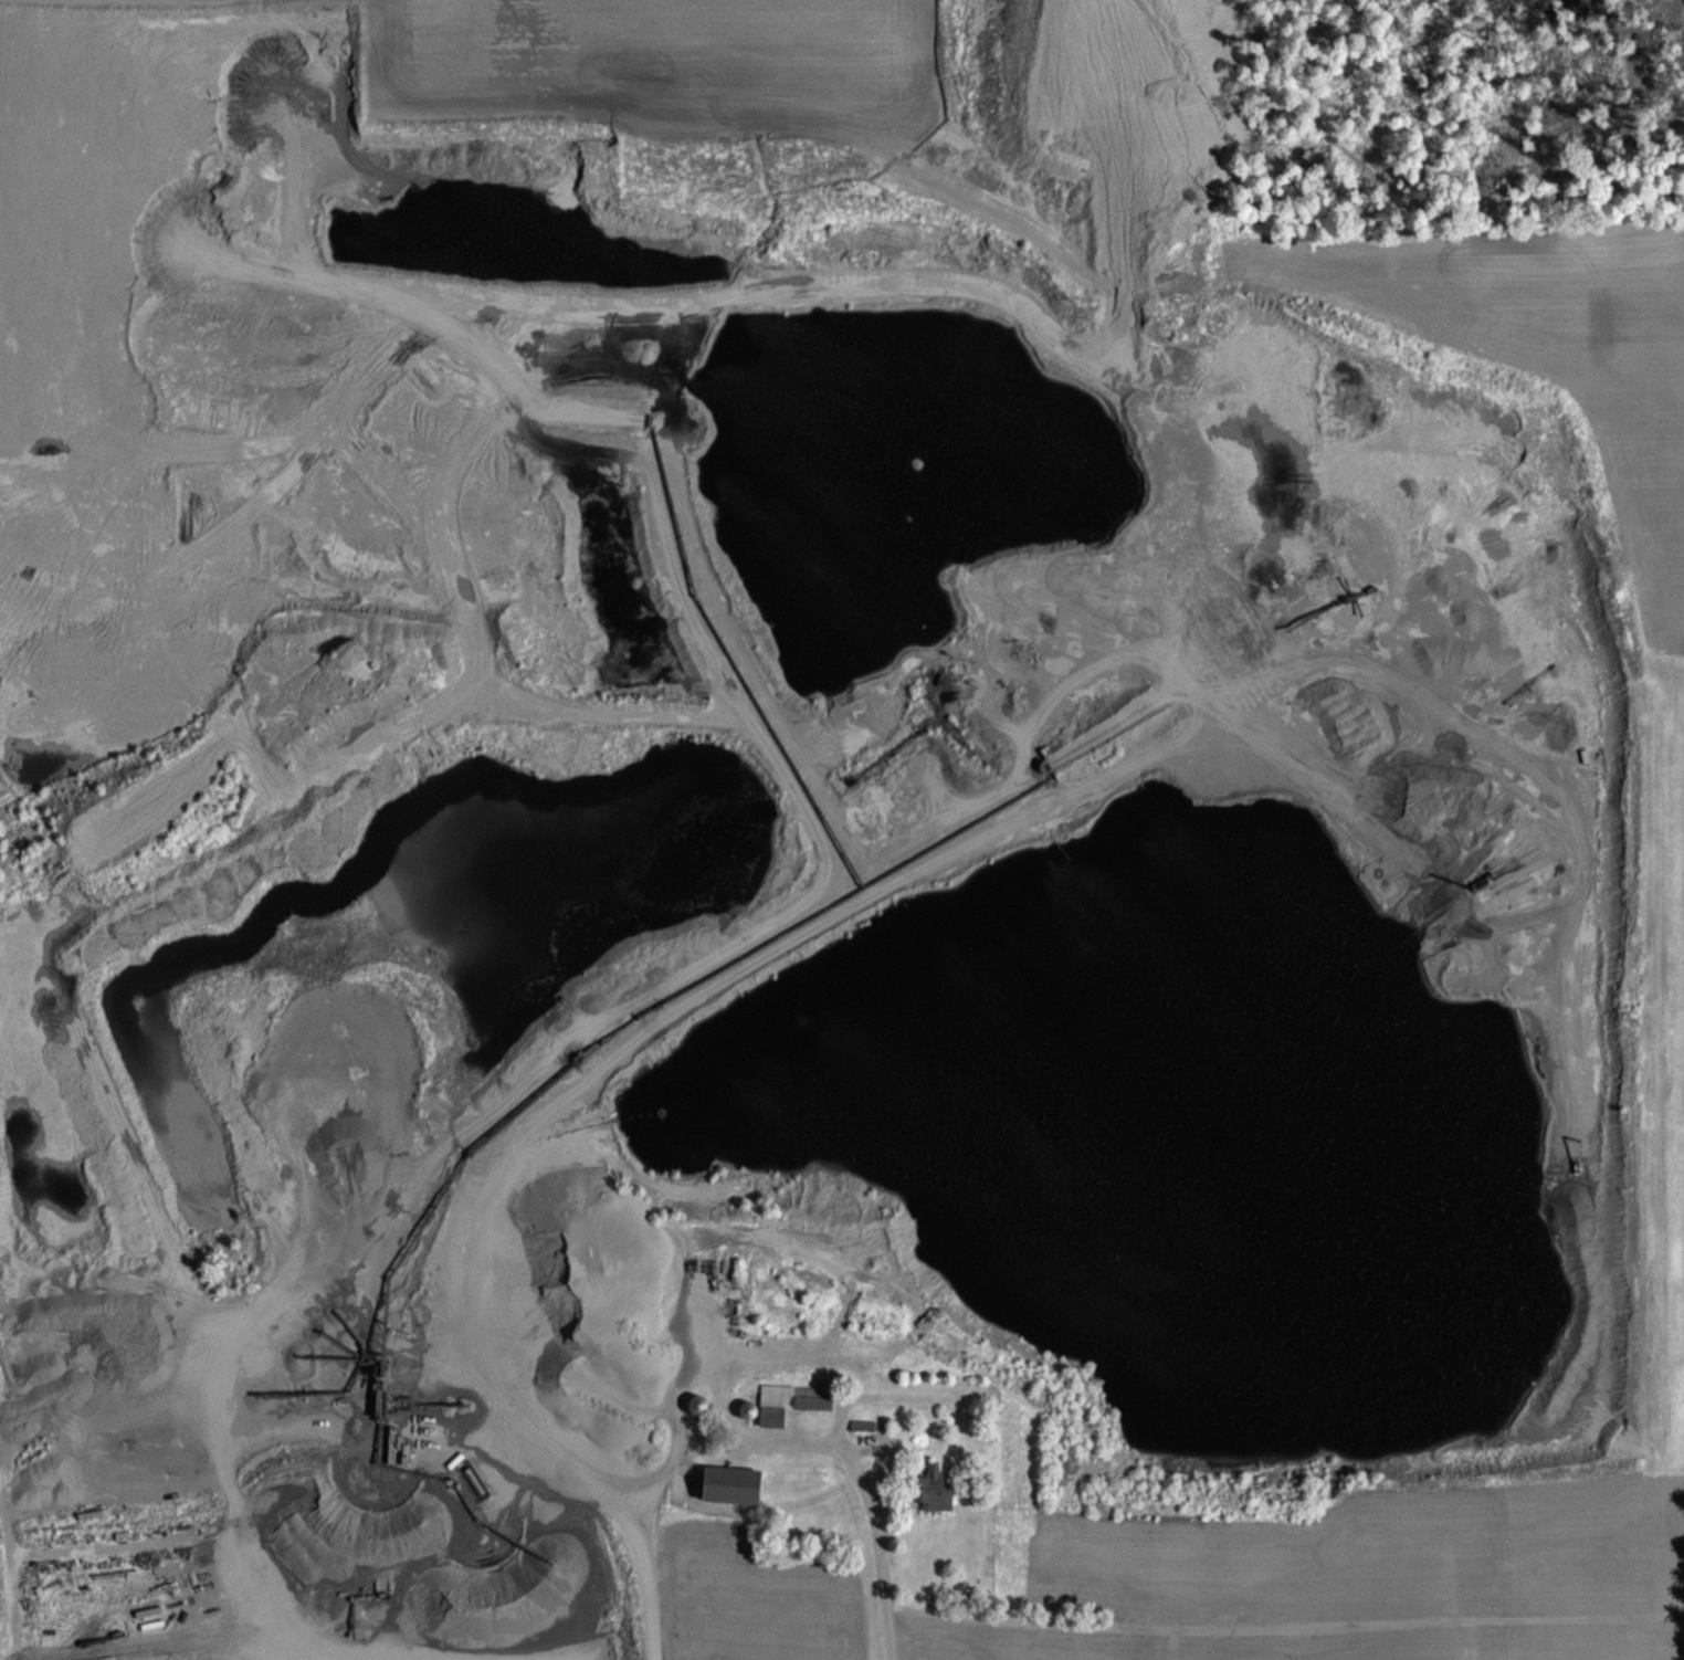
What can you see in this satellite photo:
building: (788, 1404)
building: (697, 1407)
building: (747, 1411)
building: (730, 1488)
building: (932, 1490)
road: (870, 1513)
building: (275, 1659)

